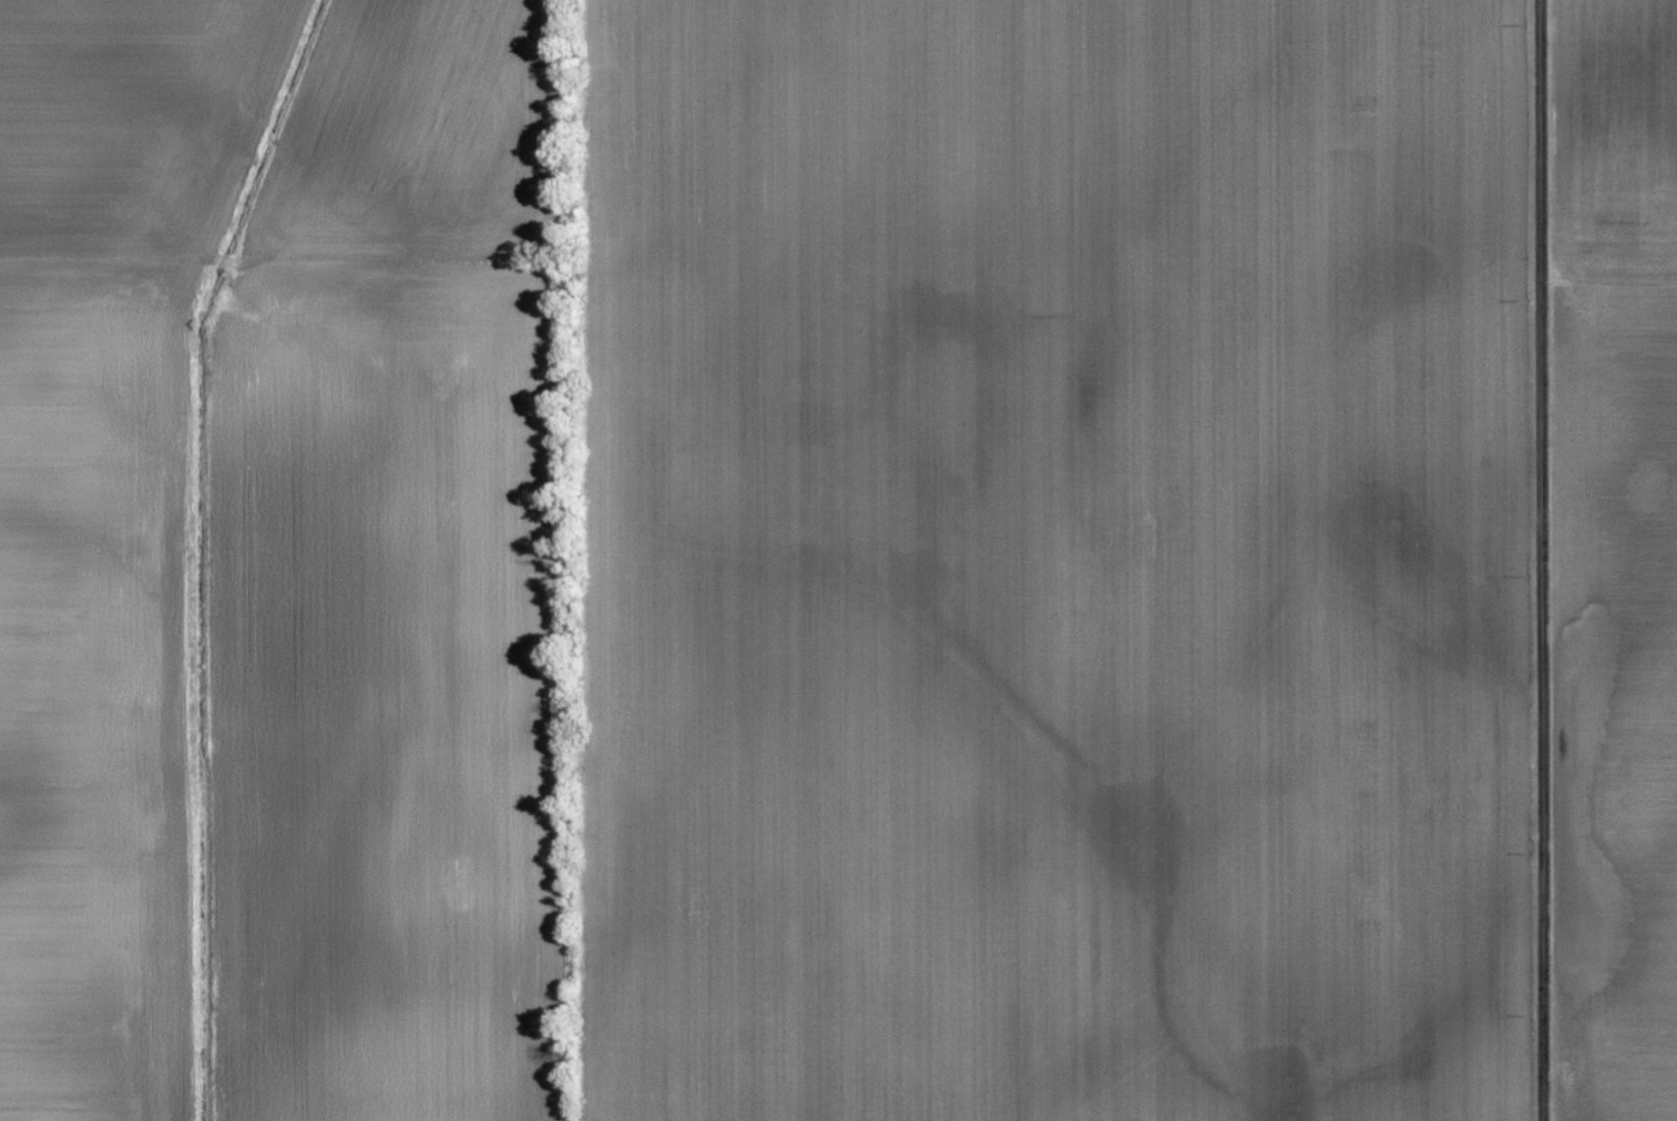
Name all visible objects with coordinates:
road: (1543, 560)

